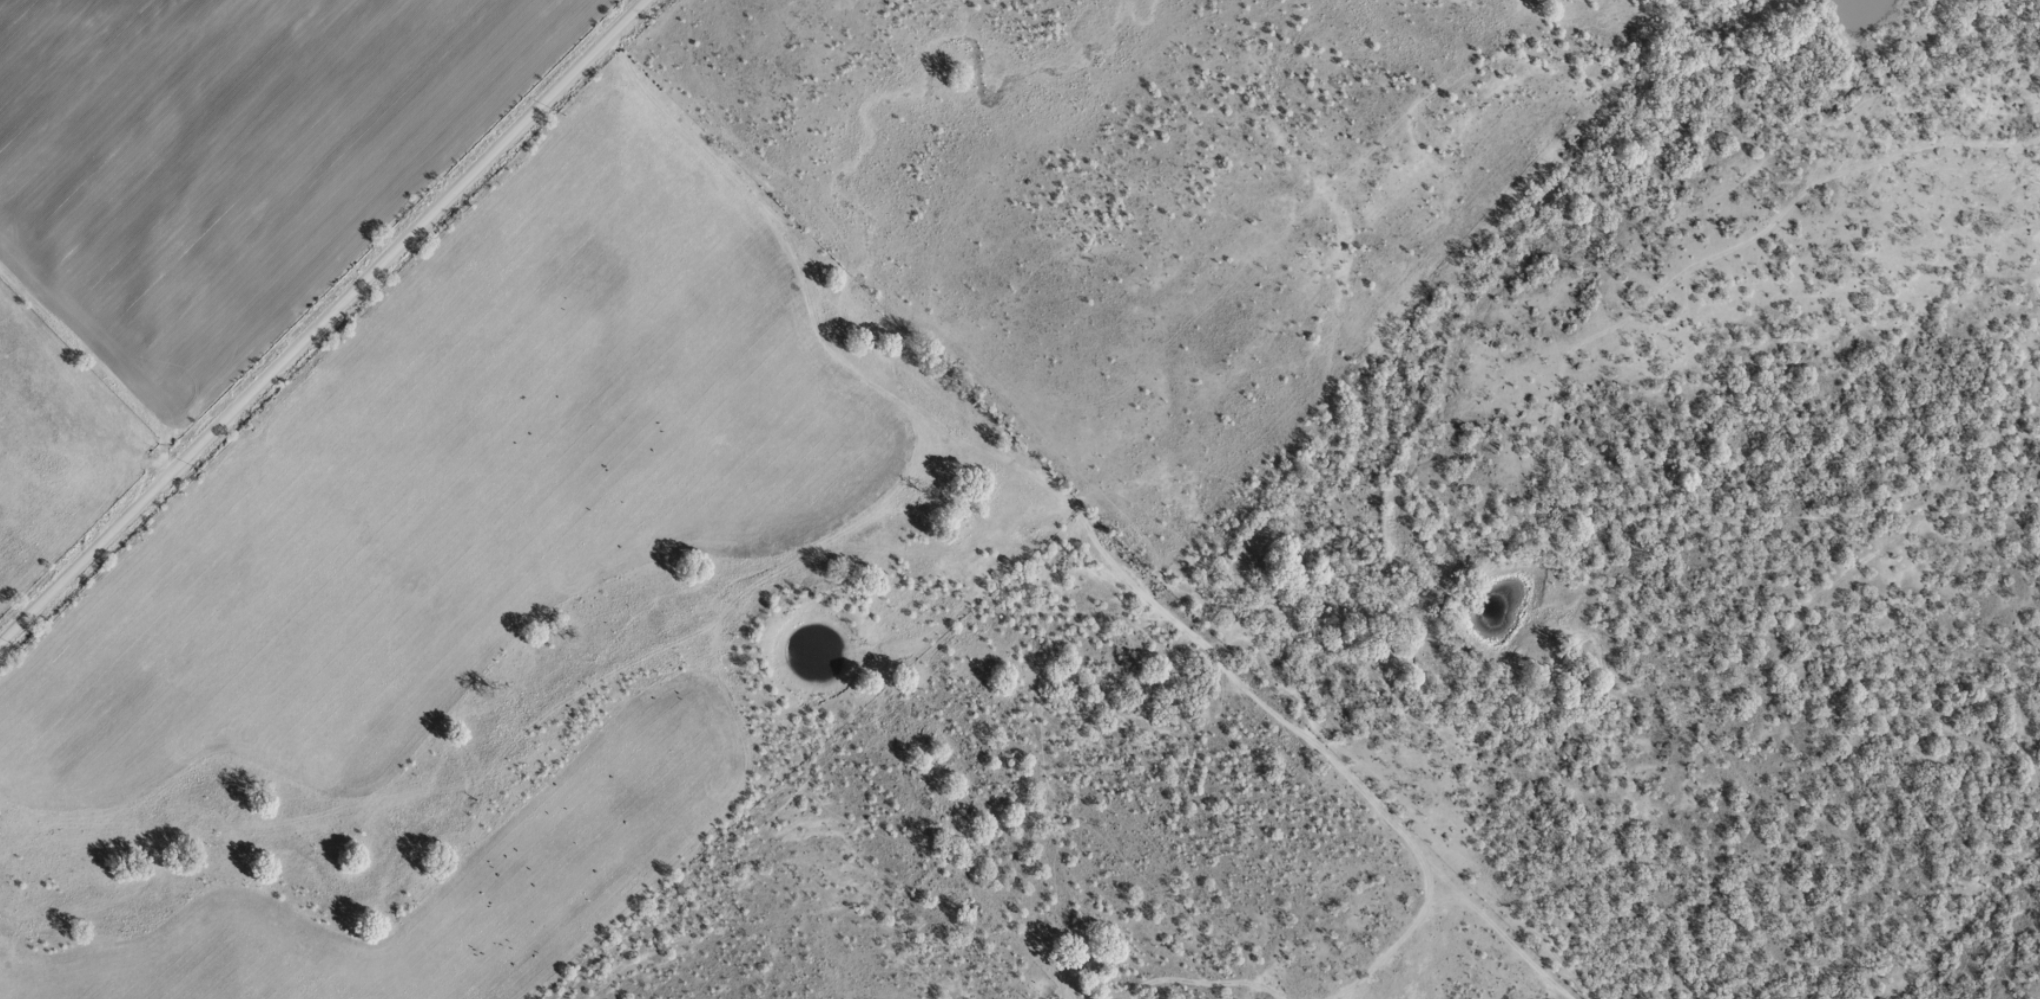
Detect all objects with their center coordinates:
road: (1748, 257)
road: (321, 321)

